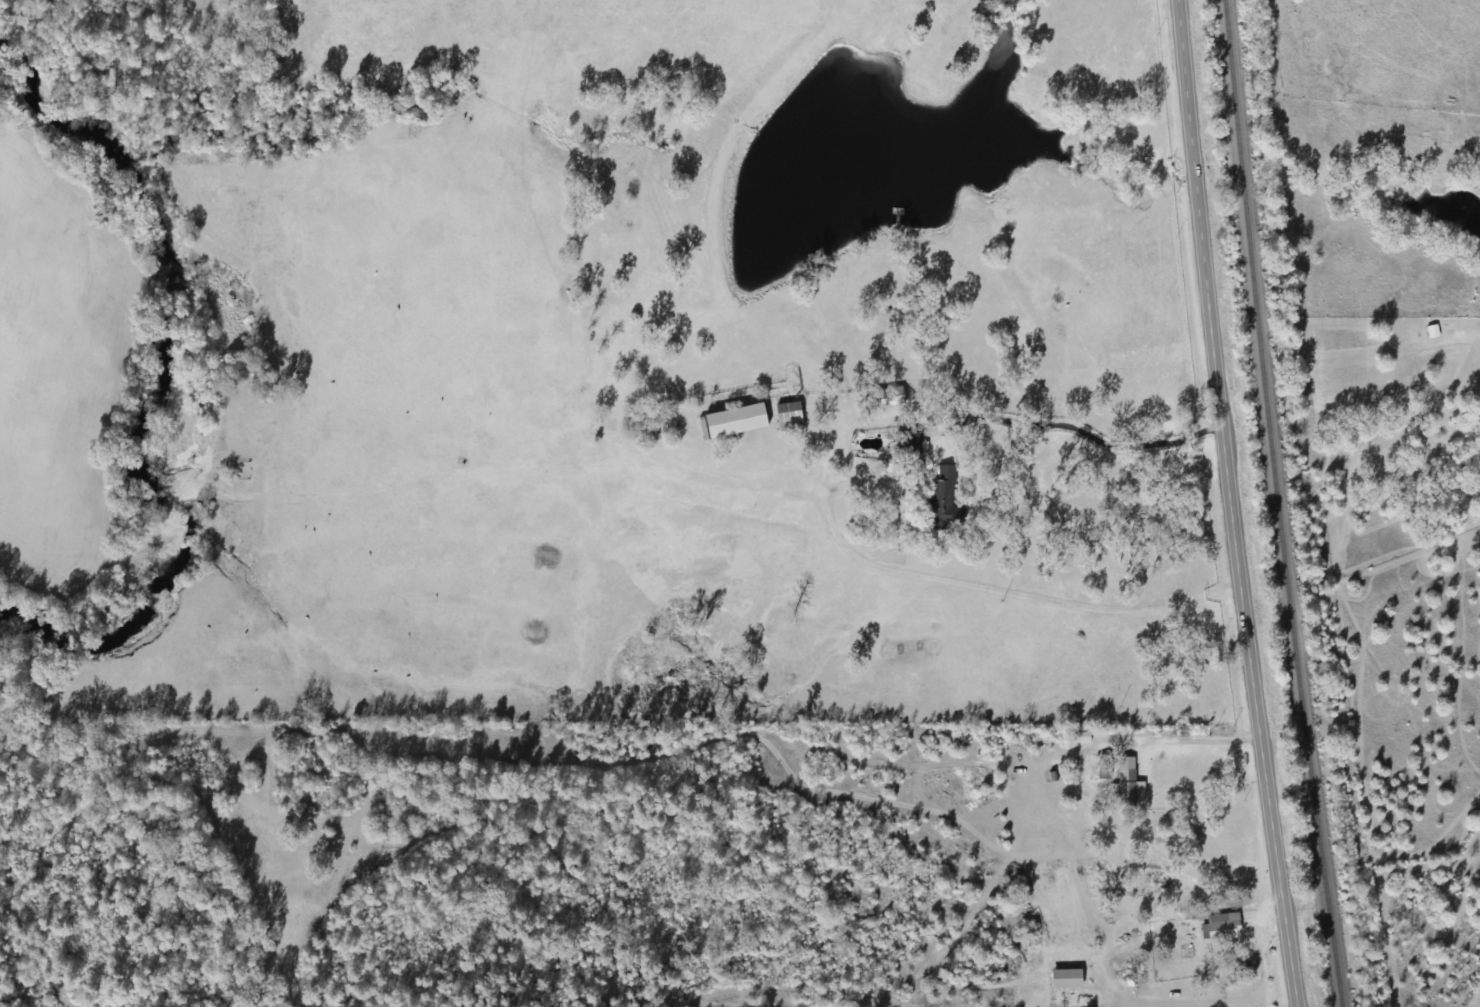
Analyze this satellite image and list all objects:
building: (1431, 333)
building: (889, 399)
building: (787, 419)
building: (911, 444)
building: (943, 503)
road: (1238, 503)
railway: (1277, 504)
building: (1102, 770)
building: (1124, 789)
building: (1222, 932)
building: (1068, 958)

